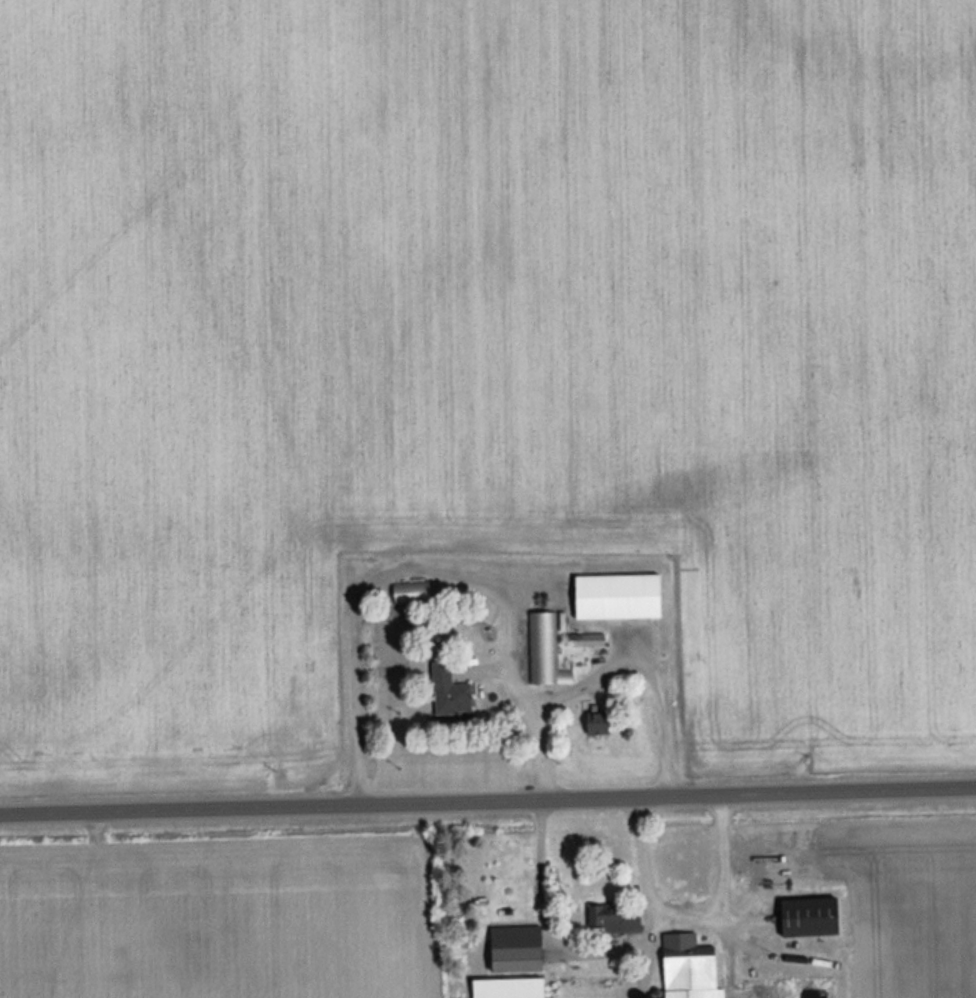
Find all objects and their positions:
building: (410, 591)
building: (615, 596)
building: (585, 639)
building: (546, 650)
building: (448, 690)
building: (596, 723)
road: (488, 804)
building: (806, 915)
building: (614, 916)
building: (516, 958)
building: (687, 967)
building: (506, 987)

